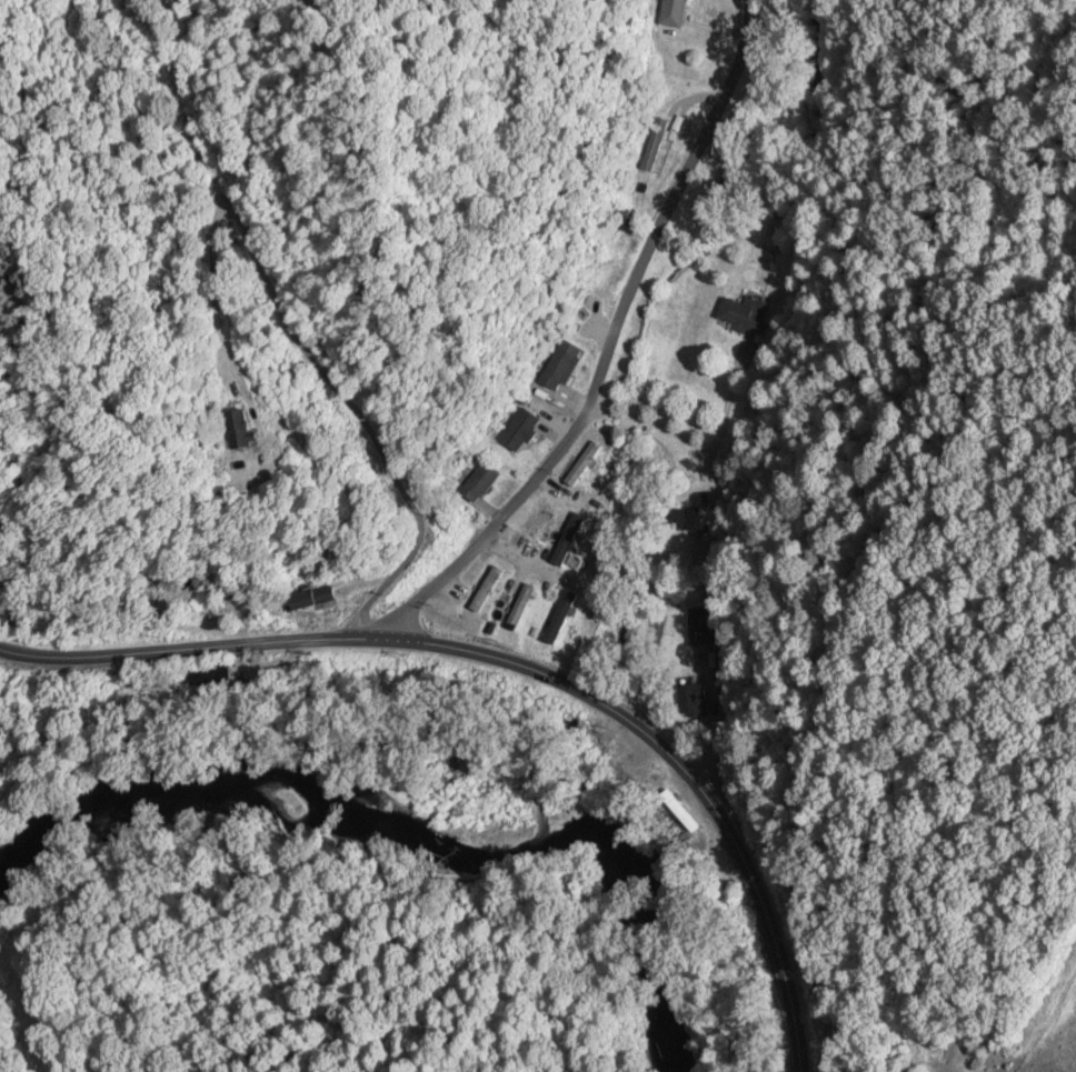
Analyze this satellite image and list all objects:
building: (670, 12)
building: (833, 79)
building: (654, 144)
building: (779, 229)
building: (744, 313)
road: (290, 324)
road: (604, 342)
building: (559, 364)
building: (227, 429)
building: (517, 430)
building: (581, 465)
building: (477, 482)
building: (690, 521)
building: (568, 540)
building: (485, 590)
building: (306, 598)
building: (519, 605)
building: (559, 619)
building: (700, 625)
road: (522, 663)
building: (693, 700)
building: (679, 811)
river: (417, 835)

